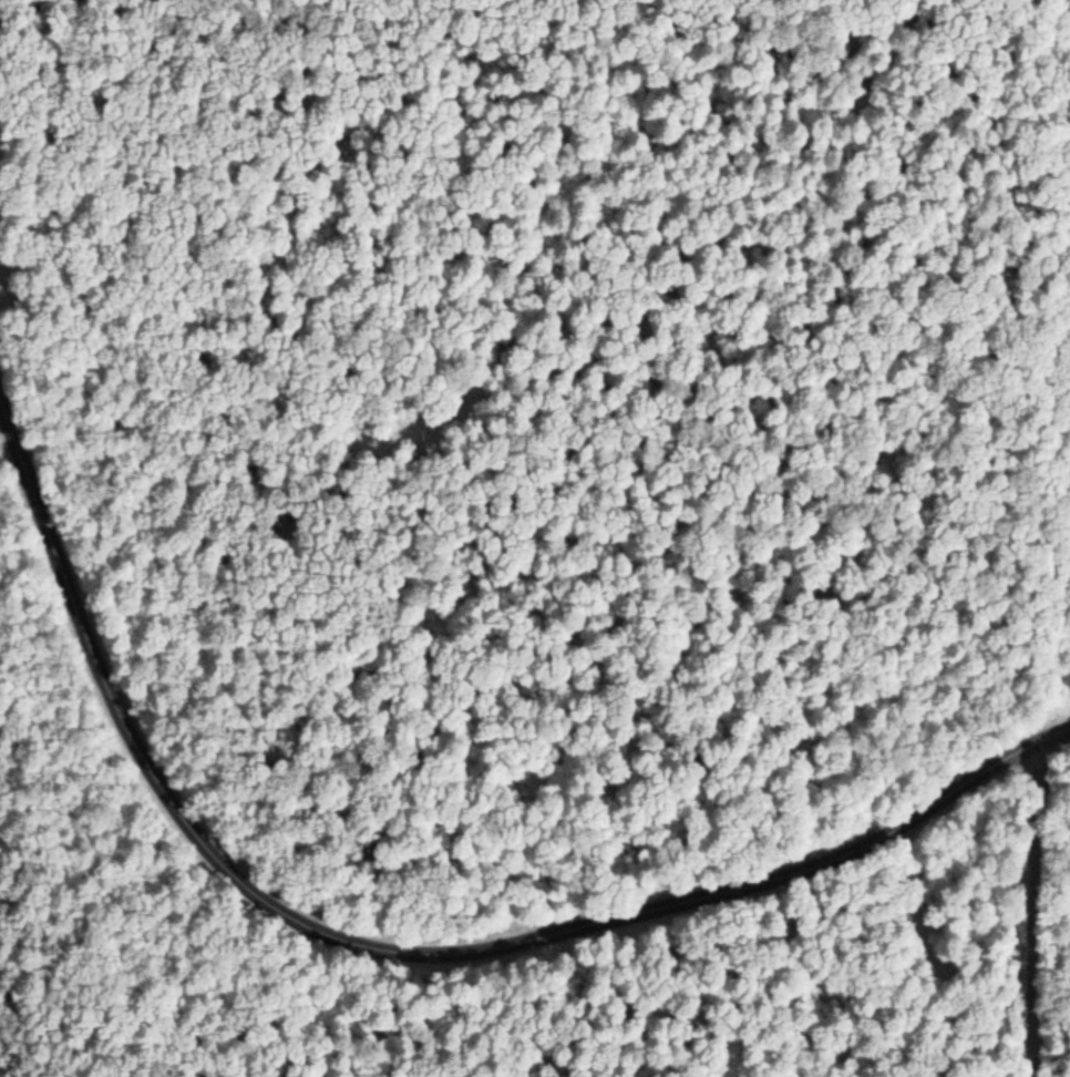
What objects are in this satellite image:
road: (1031, 912)
road: (400, 948)

